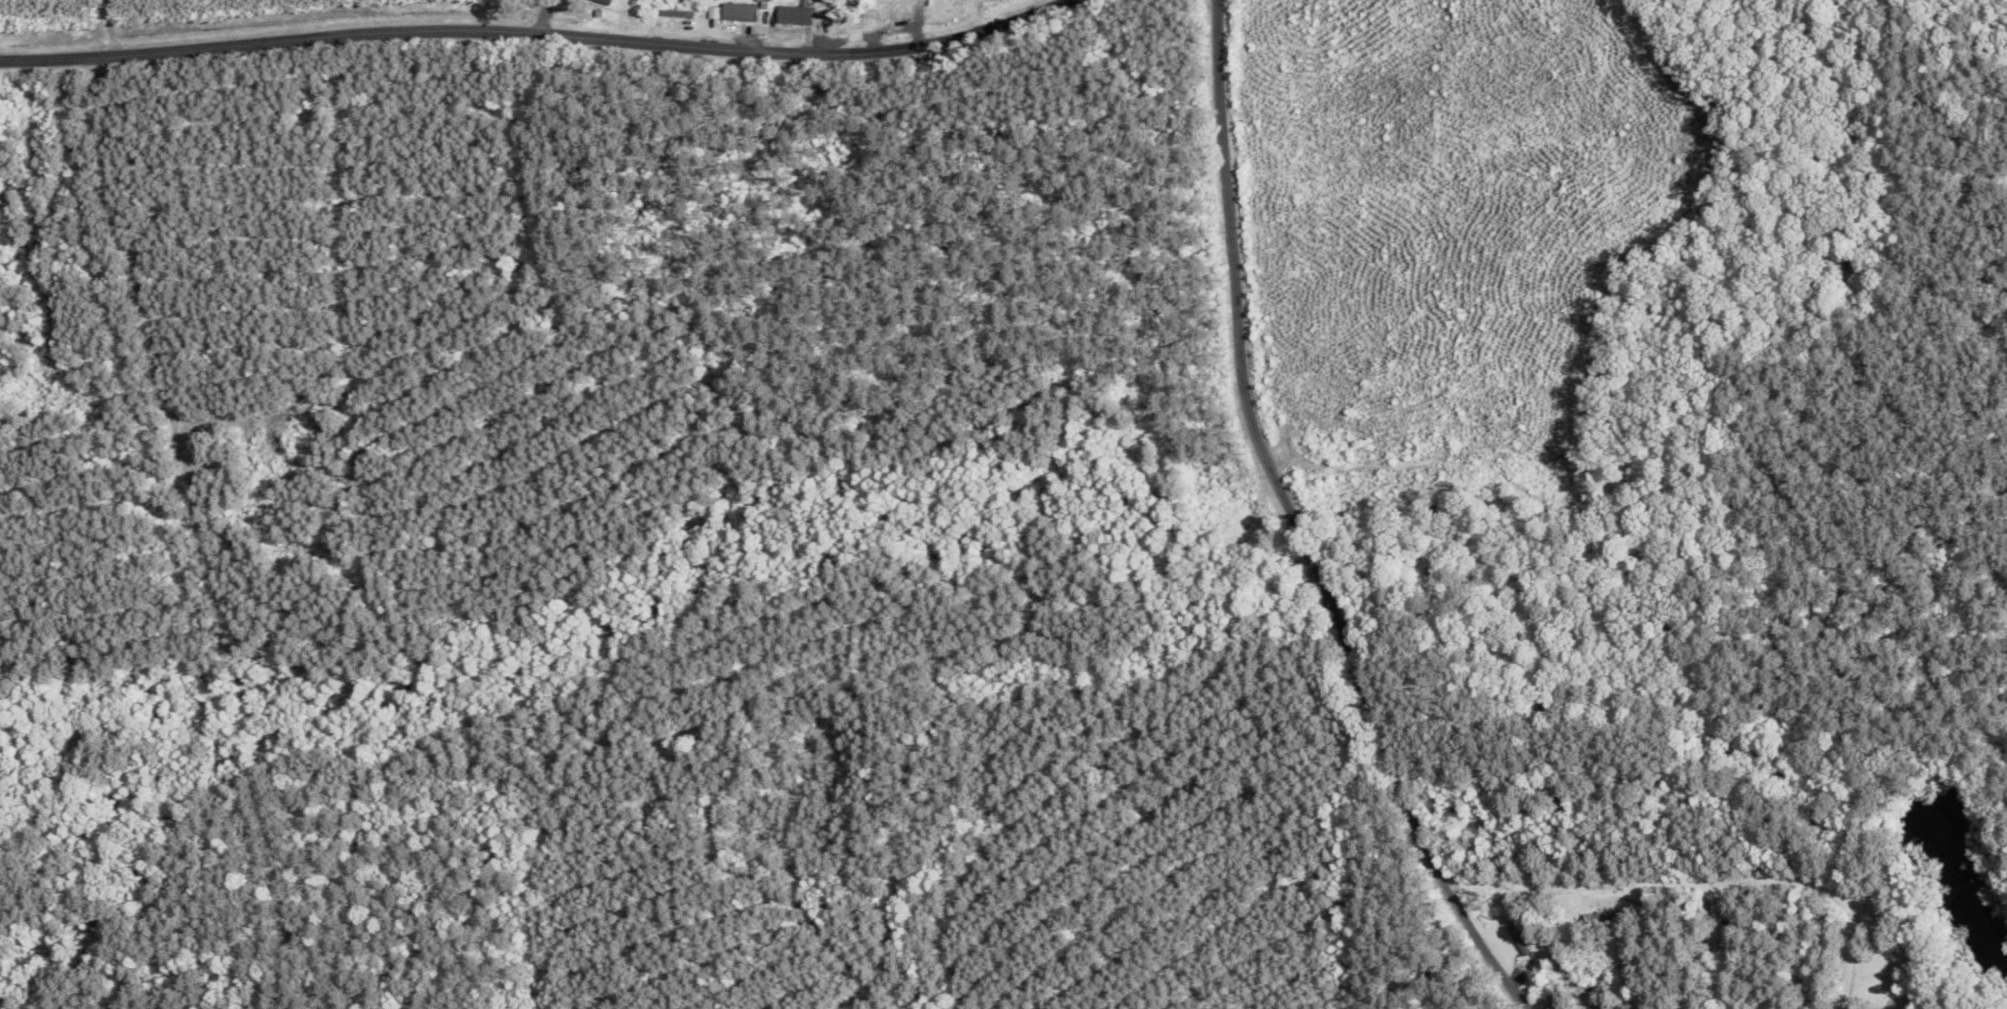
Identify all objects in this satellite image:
building: (898, 0)
building: (619, 7)
building: (735, 14)
building: (791, 17)
road: (217, 25)
road: (539, 34)
road: (1292, 527)
building: (1598, 922)
building: (1516, 941)

